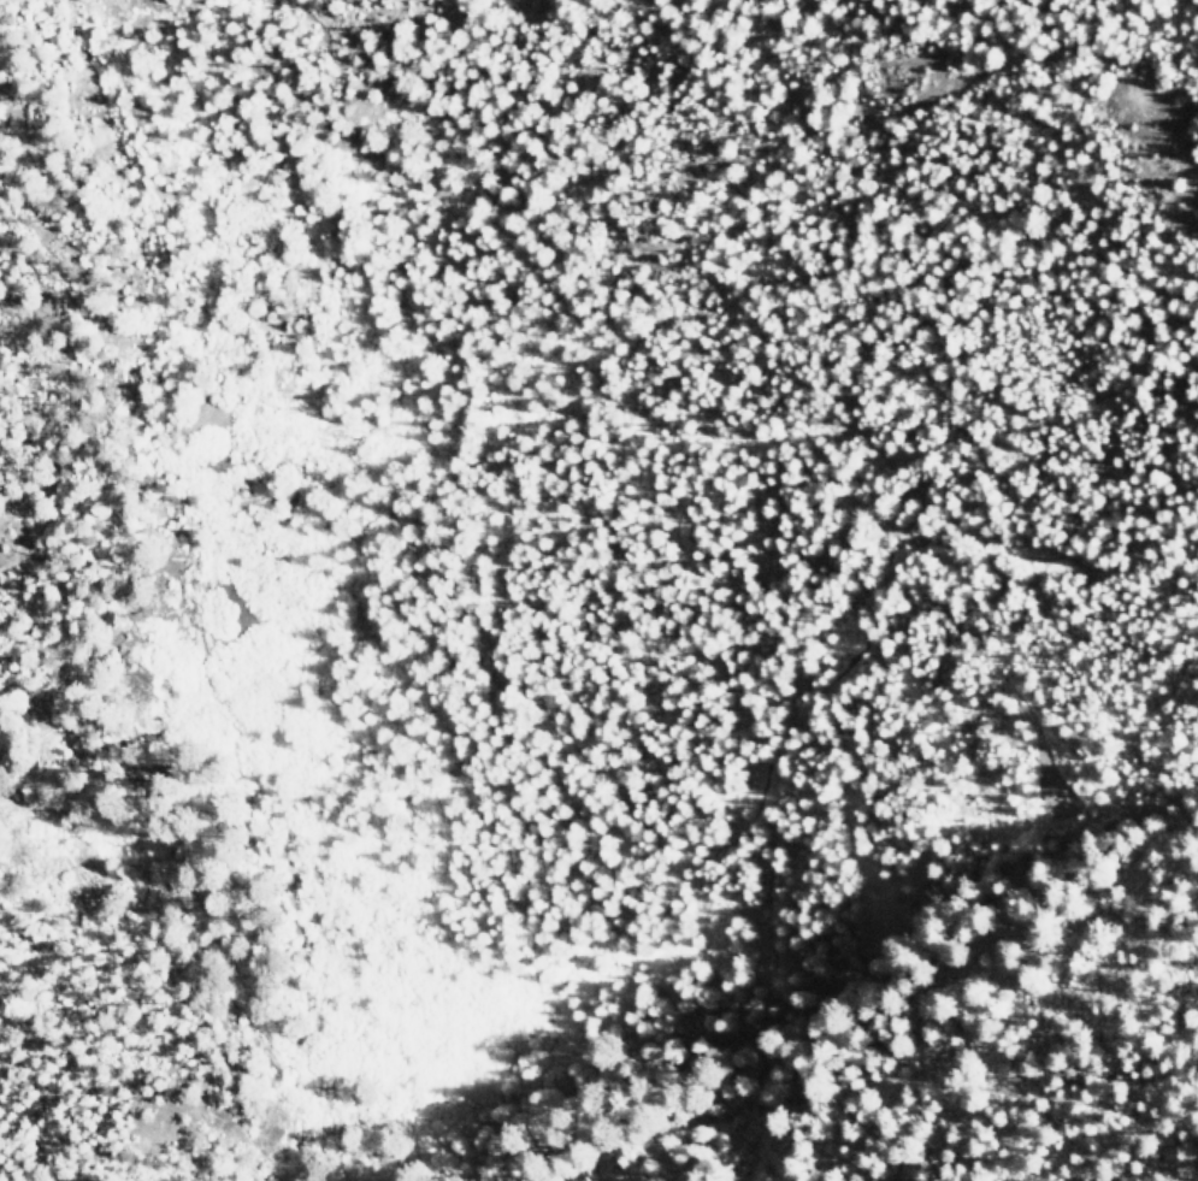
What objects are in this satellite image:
road: (101, 142)

